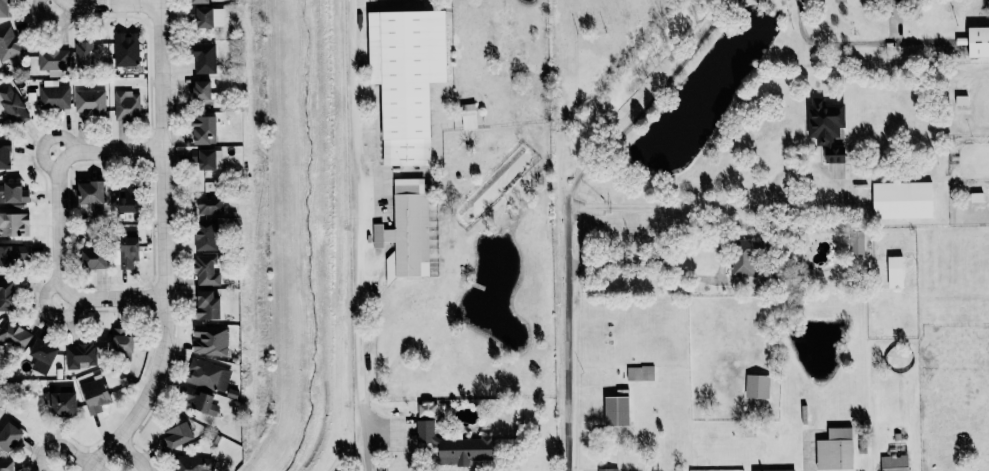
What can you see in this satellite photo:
building: (198, 1)
road: (113, 3)
building: (3, 8)
building: (209, 17)
building: (978, 41)
road: (830, 43)
building: (9, 44)
building: (125, 48)
building: (82, 54)
building: (204, 57)
building: (53, 60)
building: (405, 78)
building: (201, 89)
building: (54, 94)
building: (89, 101)
road: (648, 104)
building: (12, 105)
building: (126, 105)
building: (468, 115)
building: (827, 127)
building: (203, 129)
building: (4, 153)
building: (89, 192)
building: (13, 193)
building: (209, 197)
building: (125, 199)
building: (902, 200)
road: (701, 207)
road: (59, 224)
building: (406, 229)
road: (359, 235)
building: (857, 243)
road: (165, 247)
building: (127, 248)
building: (13, 255)
building: (92, 258)
building: (742, 258)
road: (637, 261)
building: (206, 269)
building: (894, 272)
building: (6, 294)
building: (206, 305)
building: (11, 333)
building: (209, 340)
road: (567, 340)
building: (121, 341)
building: (42, 350)
building: (79, 354)
building: (640, 373)
building: (208, 374)
building: (757, 386)
building: (94, 395)
building: (198, 400)
building: (62, 404)
building: (427, 409)
building: (8, 436)
building: (176, 436)
road: (59, 445)
building: (456, 446)
building: (835, 449)
road: (132, 453)
road: (811, 456)
building: (190, 463)
building: (894, 463)
building: (5, 465)
road: (96, 468)
building: (608, 469)
building: (774, 470)

